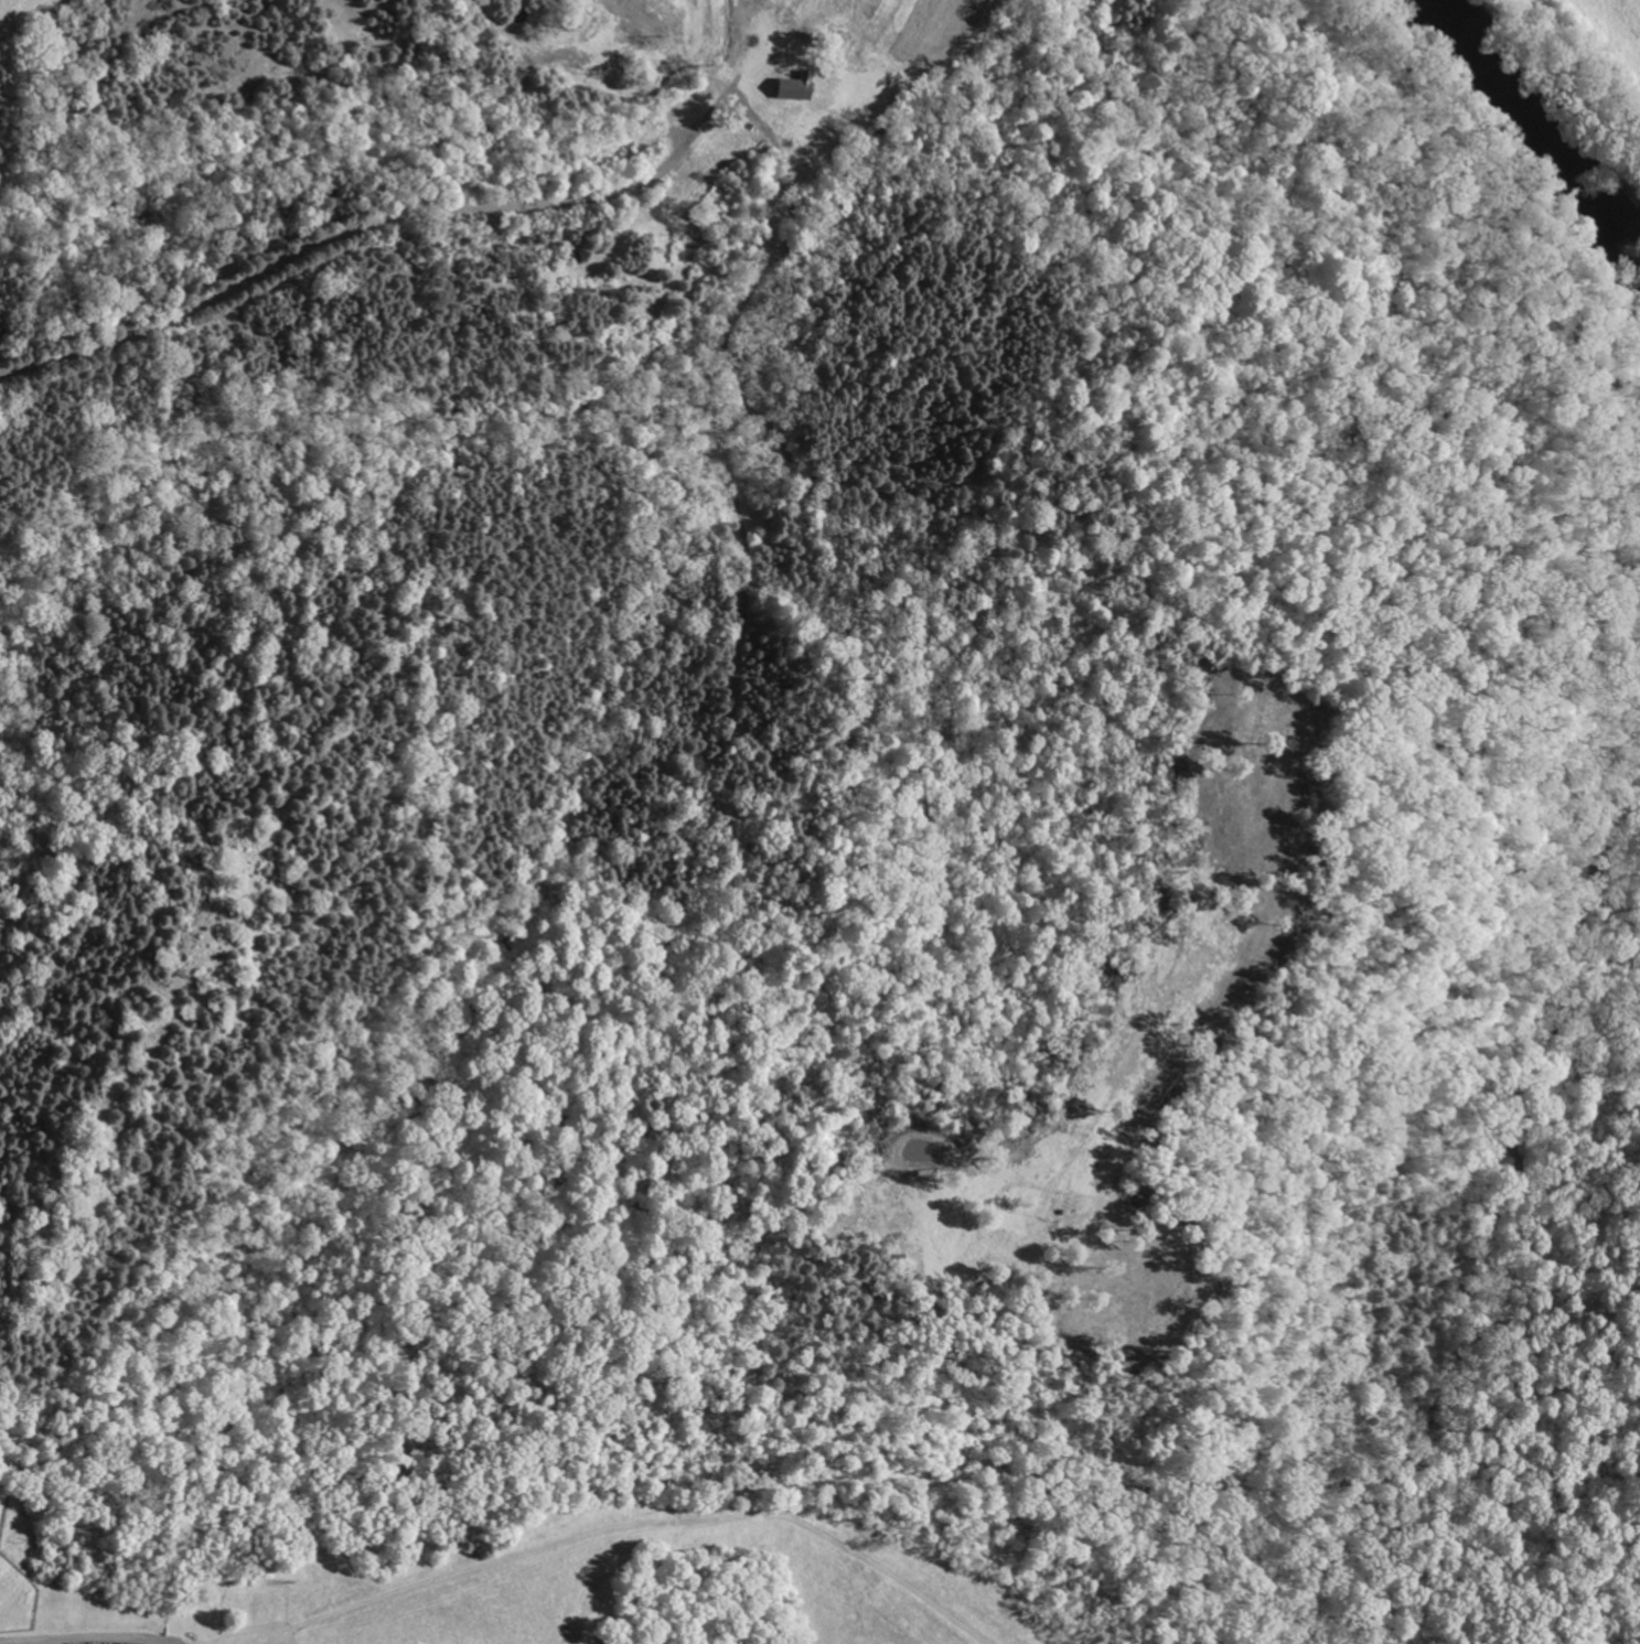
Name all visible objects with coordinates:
building: (797, 90)
river: (1536, 130)
road: (353, 232)
road: (83, 1635)

